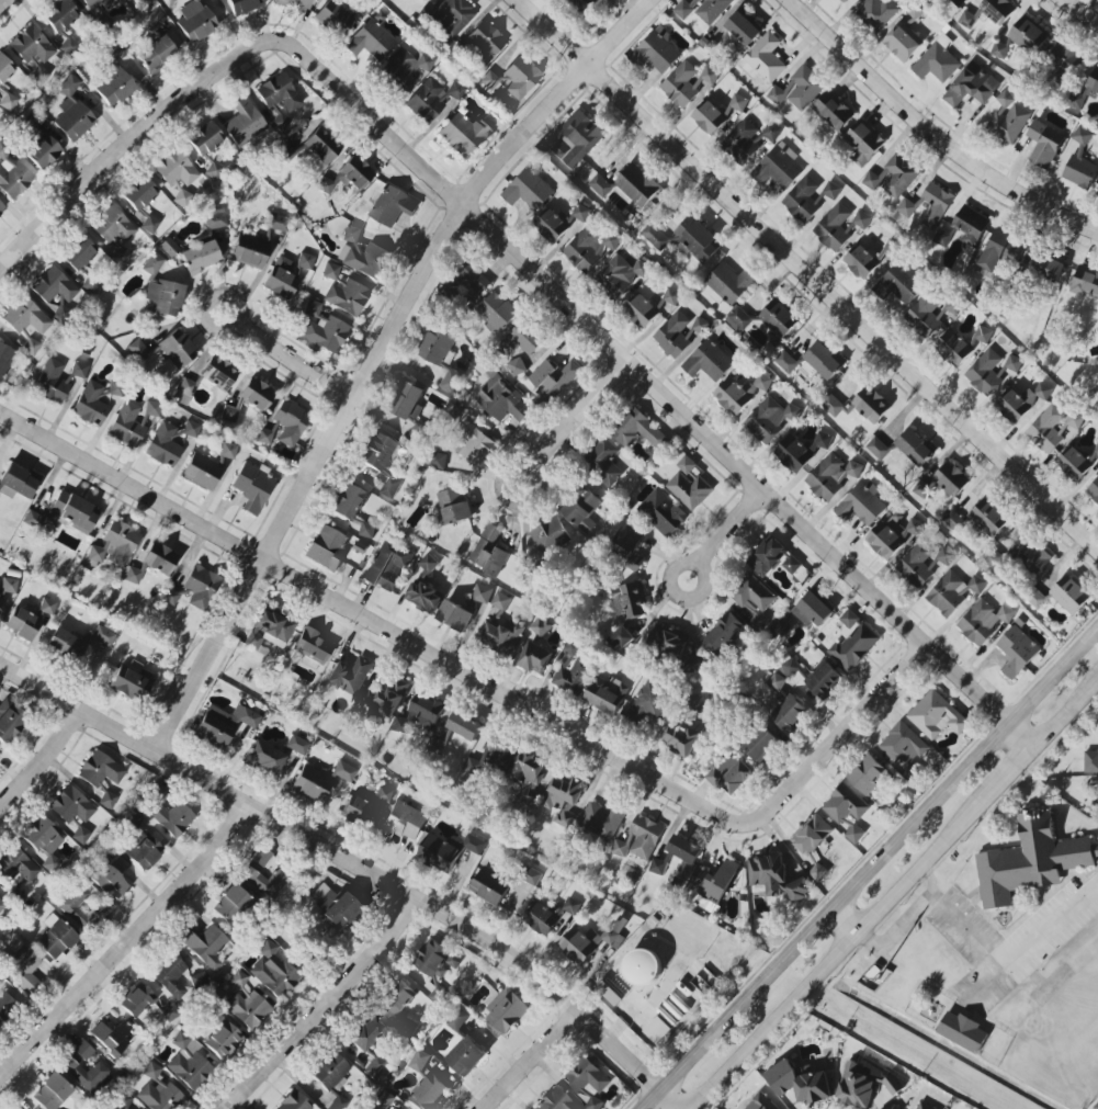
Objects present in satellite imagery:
building: (132, 0)
building: (422, 0)
building: (844, 1)
building: (580, 2)
building: (958, 2)
building: (295, 3)
building: (94, 4)
building: (244, 5)
road: (8, 7)
building: (702, 9)
building: (997, 10)
building: (915, 12)
building: (876, 13)
road: (1079, 13)
building: (60, 15)
building: (335, 16)
building: (451, 18)
building: (966, 20)
building: (154, 21)
building: (195, 22)
building: (744, 27)
building: (1028, 36)
building: (371, 41)
building: (484, 42)
building: (902, 43)
building: (31, 45)
building: (68, 47)
building: (999, 50)
building: (655, 53)
building: (156, 54)
building: (1063, 59)
building: (765, 60)
building: (937, 61)
building: (404, 68)
building: (4, 69)
building: (39, 76)
building: (710, 76)
building: (520, 79)
building: (489, 81)
building: (680, 84)
building: (113, 87)
building: (971, 87)
building: (799, 89)
building: (1085, 91)
building: (279, 93)
building: (431, 99)
building: (8, 102)
building: (736, 104)
building: (833, 111)
building: (71, 112)
building: (709, 117)
building: (1008, 118)
building: (245, 123)
building: (771, 132)
road: (930, 133)
building: (462, 134)
building: (205, 138)
building: (577, 139)
road: (133, 140)
building: (742, 142)
building: (862, 144)
building: (1044, 144)
building: (321, 147)
building: (44, 152)
building: (1080, 162)
building: (780, 167)
building: (176, 168)
building: (215, 171)
building: (348, 177)
building: (16, 178)
building: (892, 178)
building: (600, 185)
building: (636, 185)
building: (528, 191)
building: (830, 191)
building: (139, 193)
building: (182, 197)
building: (802, 200)
building: (392, 206)
building: (1, 207)
building: (907, 208)
building: (580, 213)
building: (215, 219)
building: (279, 223)
building: (149, 225)
building: (967, 226)
building: (113, 227)
building: (552, 227)
building: (837, 228)
building: (654, 236)
building: (694, 240)
building: (169, 247)
building: (589, 248)
building: (250, 251)
building: (1000, 252)
building: (79, 254)
building: (361, 254)
building: (200, 257)
building: (862, 260)
building: (305, 261)
building: (1046, 268)
building: (330, 271)
building: (621, 275)
road: (806, 275)
building: (281, 279)
building: (467, 281)
building: (1085, 283)
building: (729, 284)
building: (89, 285)
building: (54, 286)
building: (897, 286)
building: (161, 290)
building: (347, 297)
building: (669, 297)
building: (641, 312)
building: (497, 314)
building: (924, 315)
building: (26, 318)
building: (737, 319)
building: (779, 319)
building: (321, 330)
road: (224, 331)
building: (679, 333)
building: (982, 335)
building: (520, 341)
building: (31, 347)
building: (438, 348)
building: (953, 349)
building: (166, 351)
road: (374, 354)
building: (4, 360)
building: (823, 361)
road: (293, 362)
building: (708, 362)
building: (785, 362)
building: (1012, 364)
building: (516, 367)
building: (79, 370)
building: (985, 373)
building: (207, 380)
building: (552, 380)
building: (50, 381)
building: (450, 381)
building: (115, 389)
building: (739, 393)
building: (256, 394)
road: (658, 396)
building: (501, 400)
building: (408, 401)
building: (1021, 401)
building: (91, 405)
building: (870, 405)
building: (831, 406)
building: (151, 408)
building: (228, 415)
road: (574, 416)
building: (770, 419)
building: (1075, 422)
building: (284, 425)
building: (127, 426)
building: (1046, 430)
building: (638, 431)
building: (415, 435)
building: (823, 440)
building: (169, 442)
building: (476, 446)
building: (915, 448)
building: (876, 449)
building: (376, 452)
building: (1095, 452)
building: (226, 453)
building: (793, 454)
building: (438, 461)
building: (603, 463)
building: (1074, 465)
building: (202, 472)
building: (830, 476)
building: (951, 479)
road: (534, 482)
building: (16, 483)
building: (252, 487)
building: (390, 487)
building: (920, 489)
building: (689, 490)
building: (1094, 493)
building: (348, 502)
building: (861, 505)
building: (454, 506)
building: (581, 507)
building: (73, 511)
building: (661, 513)
building: (988, 518)
building: (34, 520)
building: (952, 521)
building: (366, 530)
road: (727, 531)
building: (548, 535)
building: (893, 535)
building: (627, 544)
building: (115, 545)
building: (327, 547)
building: (489, 552)
building: (944, 556)
building: (767, 557)
building: (160, 558)
building: (428, 564)
building: (792, 565)
building: (388, 566)
building: (915, 566)
road: (691, 567)
building: (133, 575)
building: (9, 586)
building: (201, 588)
building: (952, 592)
building: (423, 595)
building: (482, 595)
building: (1069, 596)
building: (170, 597)
building: (1035, 598)
building: (1, 599)
building: (755, 600)
building: (500, 601)
building: (629, 601)
building: (47, 607)
building: (813, 610)
building: (454, 616)
road: (372, 622)
building: (983, 622)
building: (23, 624)
building: (542, 625)
building: (780, 627)
building: (270, 631)
building: (723, 634)
building: (500, 637)
building: (621, 641)
building: (666, 642)
building: (853, 643)
building: (65, 645)
building: (313, 647)
building: (98, 648)
building: (1016, 652)
building: (534, 658)
building: (695, 666)
building: (791, 668)
building: (571, 670)
building: (349, 676)
building: (823, 680)
building: (777, 682)
building: (131, 686)
building: (604, 695)
building: (385, 699)
building: (648, 701)
building: (698, 703)
road: (1066, 713)
building: (789, 714)
building: (420, 715)
building: (936, 716)
building: (10, 721)
building: (224, 724)
building: (464, 726)
building: (682, 737)
road: (838, 739)
building: (297, 745)
building: (760, 745)
building: (903, 745)
building: (438, 747)
road: (42, 755)
building: (490, 758)
building: (264, 759)
building: (1090, 760)
building: (527, 768)
building: (100, 770)
building: (343, 771)
building: (731, 774)
road: (1009, 774)
building: (868, 776)
building: (312, 784)
building: (383, 795)
building: (107, 800)
building: (562, 800)
building: (845, 804)
building: (71, 806)
building: (359, 812)
building: (172, 817)
building: (602, 821)
building: (401, 823)
building: (854, 834)
building: (812, 835)
building: (81, 836)
building: (639, 839)
building: (44, 841)
building: (474, 845)
building: (683, 850)
building: (143, 851)
building: (438, 855)
building: (1030, 861)
road: (354, 862)
building: (18, 867)
building: (657, 867)
building: (253, 870)
road: (870, 871)
building: (817, 872)
building: (110, 875)
building: (531, 876)
building: (776, 878)
road: (930, 881)
building: (714, 882)
building: (490, 887)
building: (321, 896)
building: (231, 904)
building: (2, 906)
building: (571, 906)
building: (70, 908)
building: (341, 912)
building: (541, 919)
building: (55, 938)
road: (125, 938)
building: (588, 942)
building: (206, 946)
road: (974, 948)
road: (835, 954)
building: (435, 961)
building: (642, 967)
building: (23, 970)
building: (274, 972)
building: (170, 976)
building: (238, 980)
road: (986, 981)
building: (437, 996)
building: (398, 998)
building: (136, 1000)
building: (4, 1003)
road: (320, 1004)
building: (248, 1009)
building: (506, 1011)
building: (170, 1012)
building: (456, 1019)
building: (962, 1032)
building: (366, 1033)
building: (111, 1038)
building: (223, 1040)
building: (465, 1056)
building: (419, 1061)
road: (533, 1061)
building: (190, 1065)
building: (374, 1067)
building: (72, 1070)
building: (151, 1071)
building: (329, 1071)
building: (587, 1082)
building: (799, 1084)
building: (893, 1085)
building: (856, 1087)
building: (52, 1093)
building: (428, 1094)
building: (160, 1097)
building: (382, 1100)
building: (555, 1100)
building: (294, 1102)
building: (761, 1102)
building: (338, 1104)
building: (924, 1106)
building: (893, 1107)
building: (1096, 1107)

